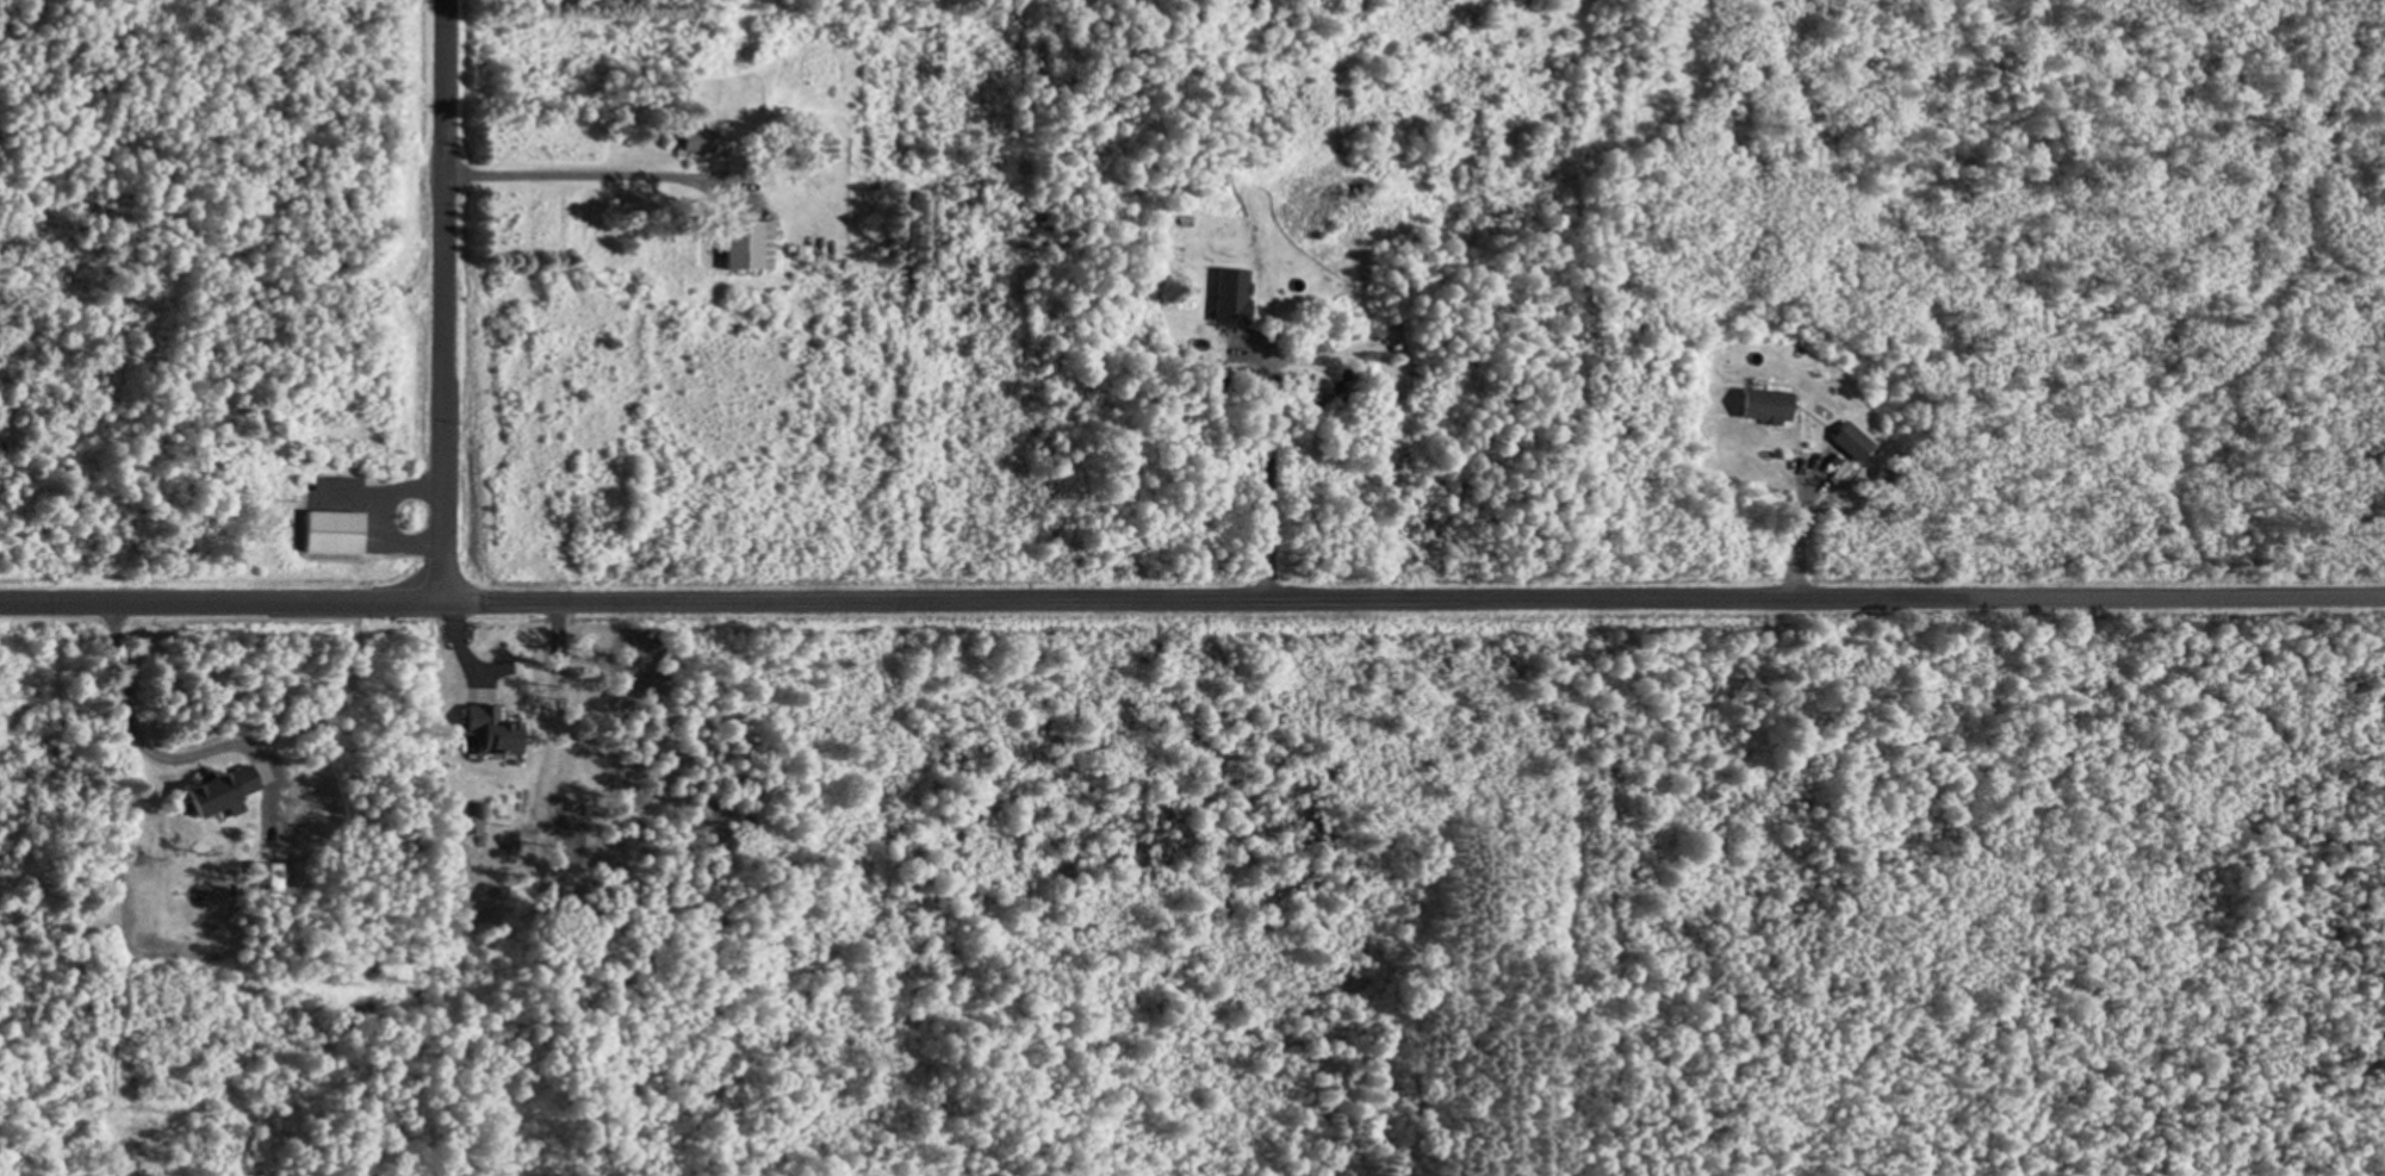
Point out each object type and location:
building: (694, 138)
park: (179, 199)
building: (746, 243)
building: (1230, 293)
road: (442, 299)
building: (1293, 381)
building: (1764, 404)
building: (1851, 440)
building: (331, 529)
road: (240, 602)
road: (1431, 603)
building: (492, 728)
building: (222, 789)
building: (478, 816)
building: (268, 878)

